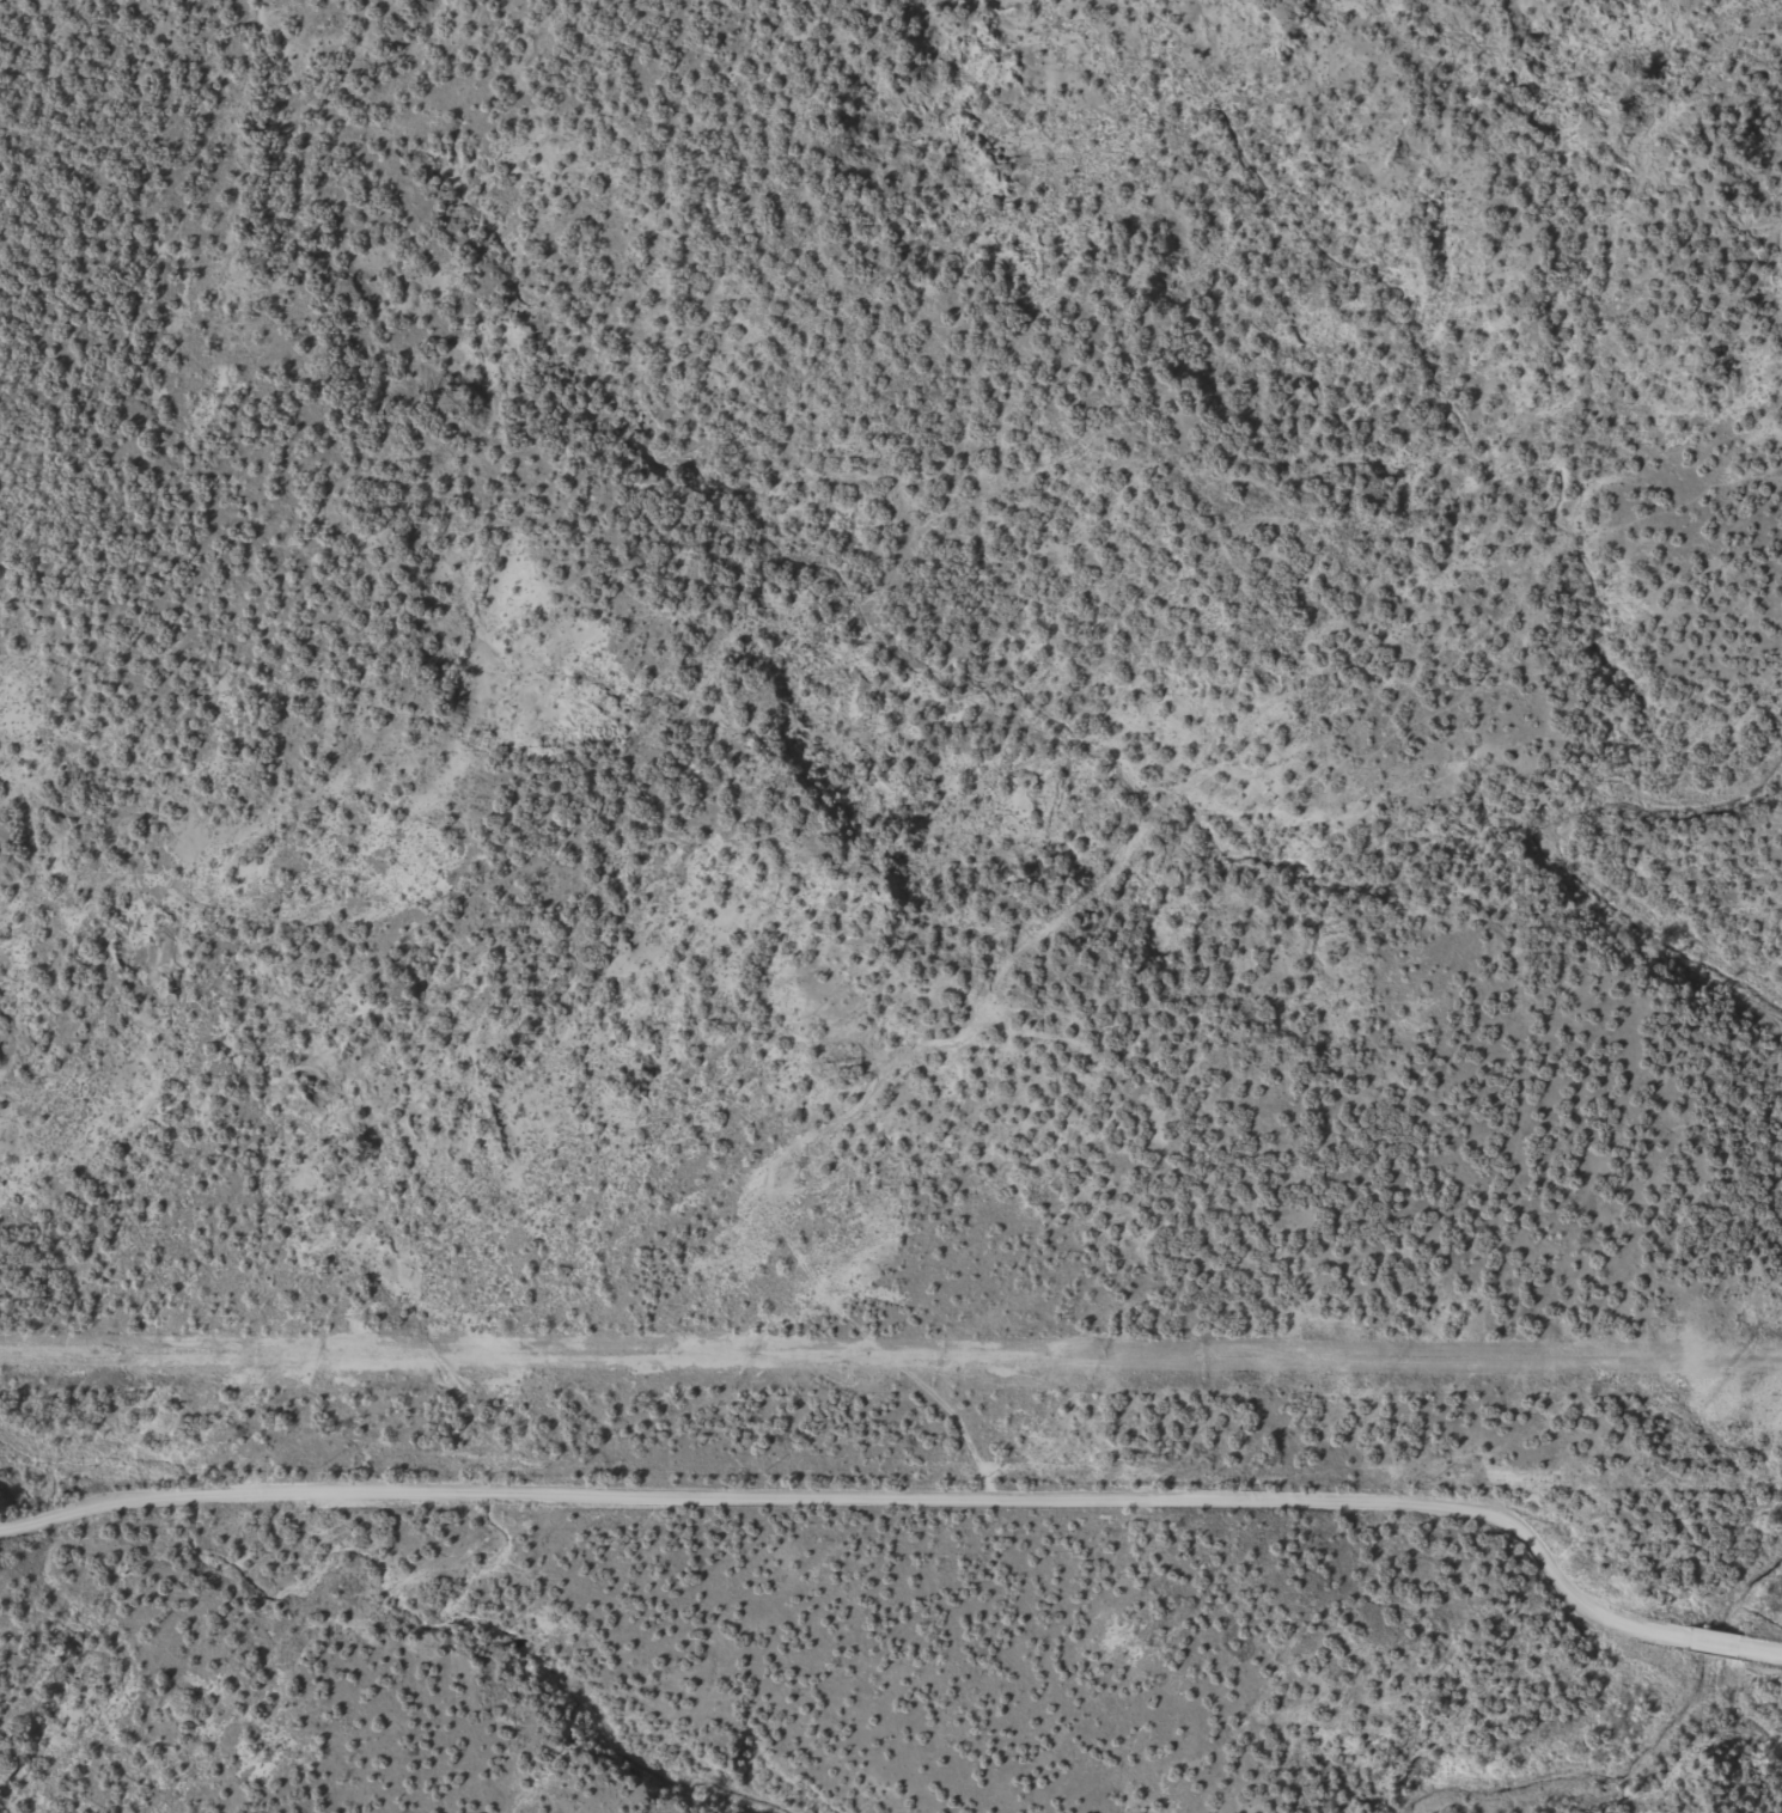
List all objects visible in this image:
road: (913, 1494)
park: (791, 1677)

